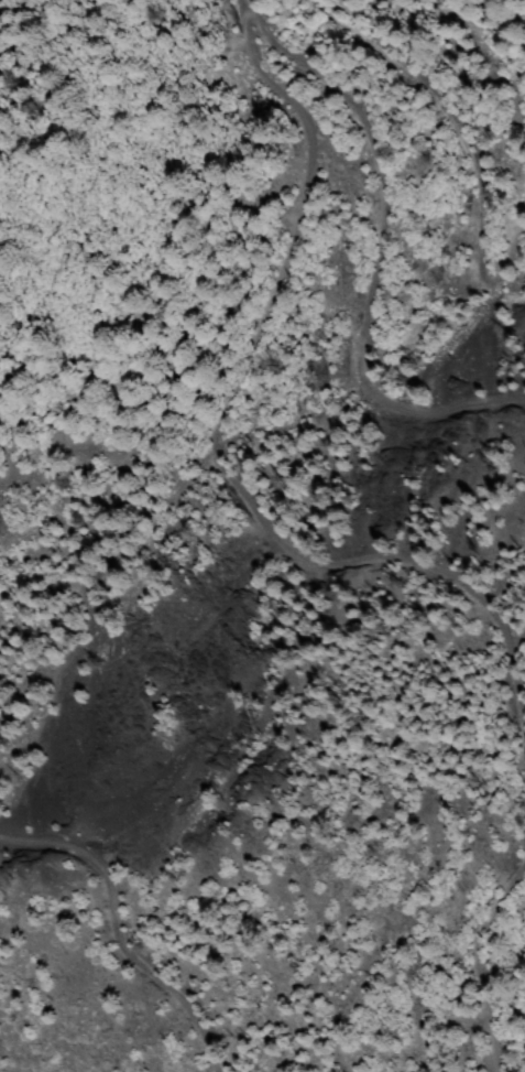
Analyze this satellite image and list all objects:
road: (243, 2)
road: (374, 255)
road: (215, 455)
road: (116, 932)
road: (472, 959)

